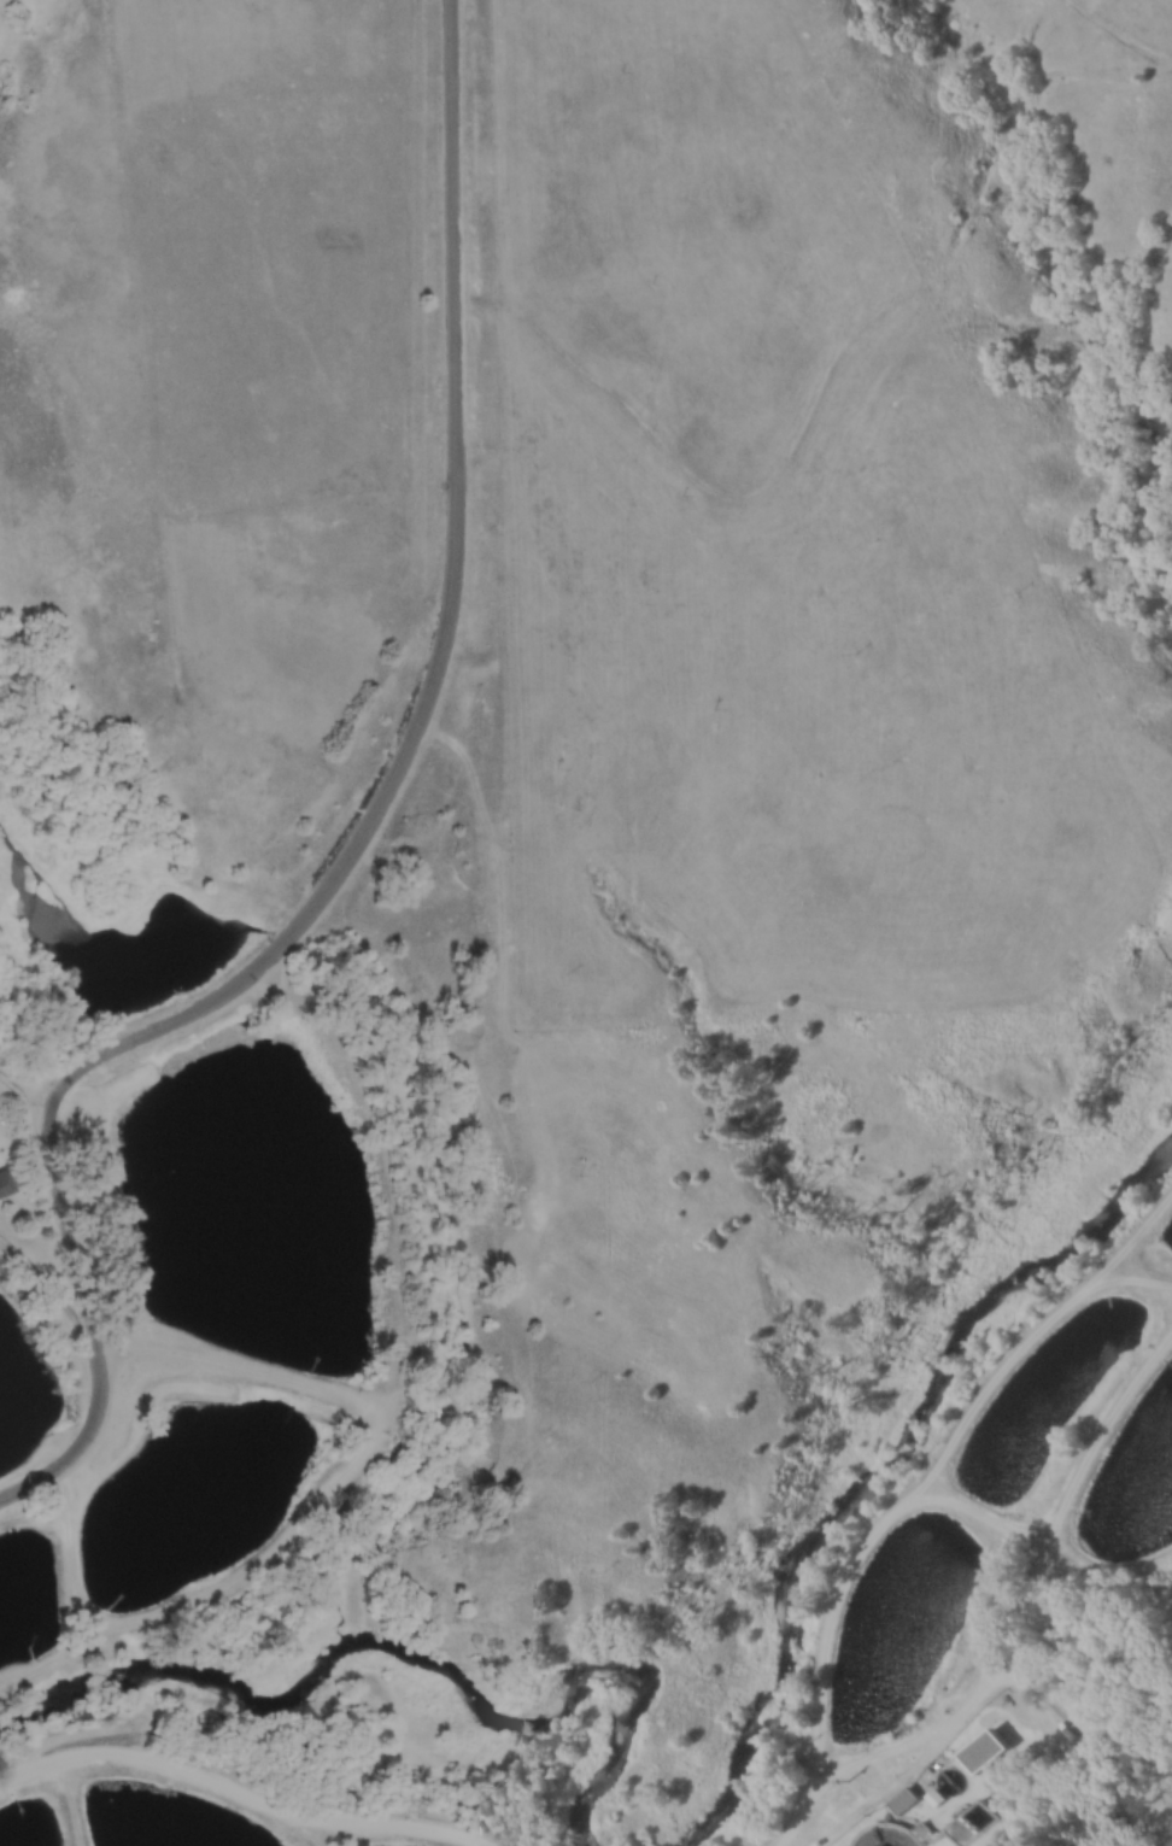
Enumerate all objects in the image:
road: (354, 838)
road: (25, 1084)
building: (6, 1179)
road: (43, 1276)
road: (1133, 1284)
road: (321, 1495)
road: (844, 1592)
road: (1035, 1621)
building: (986, 1750)
road: (242, 1794)
building: (908, 1800)

